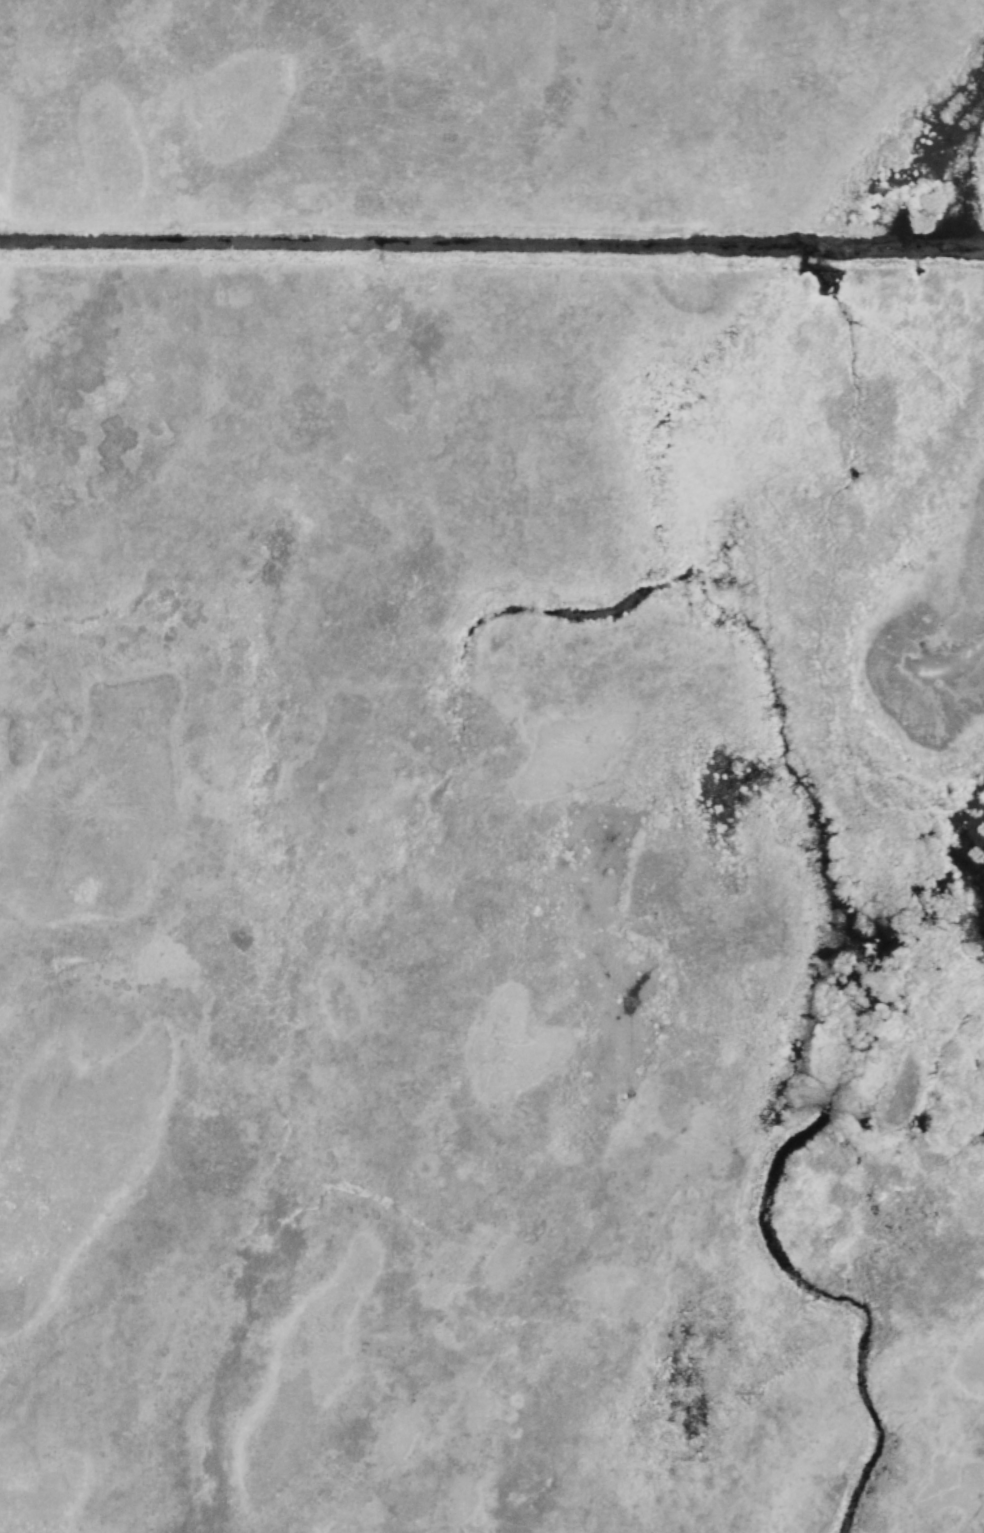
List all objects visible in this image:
crop: (981, 287)
crop: (25, 648)
crop: (508, 855)

